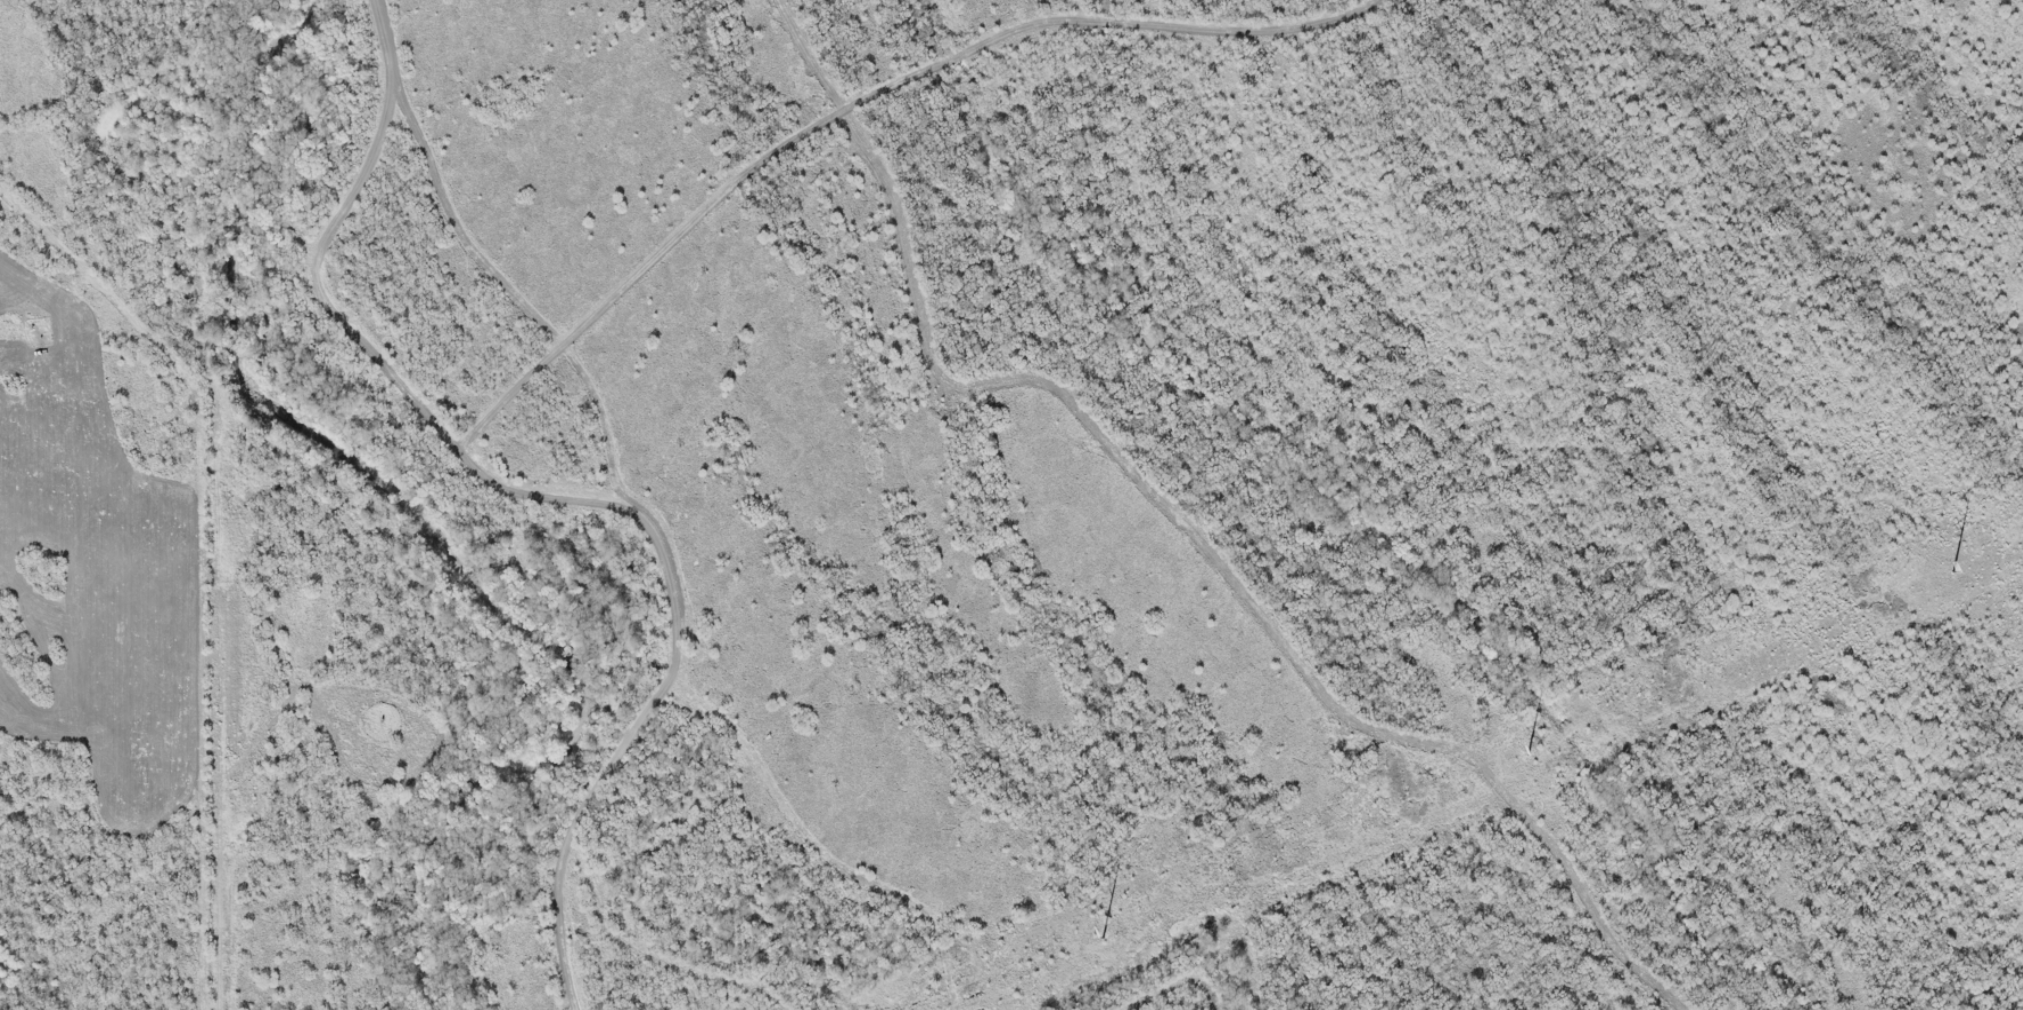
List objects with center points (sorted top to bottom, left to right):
river: (433, 533)
power tower: (1949, 568)
power tower: (1525, 752)
power tower: (1098, 932)

